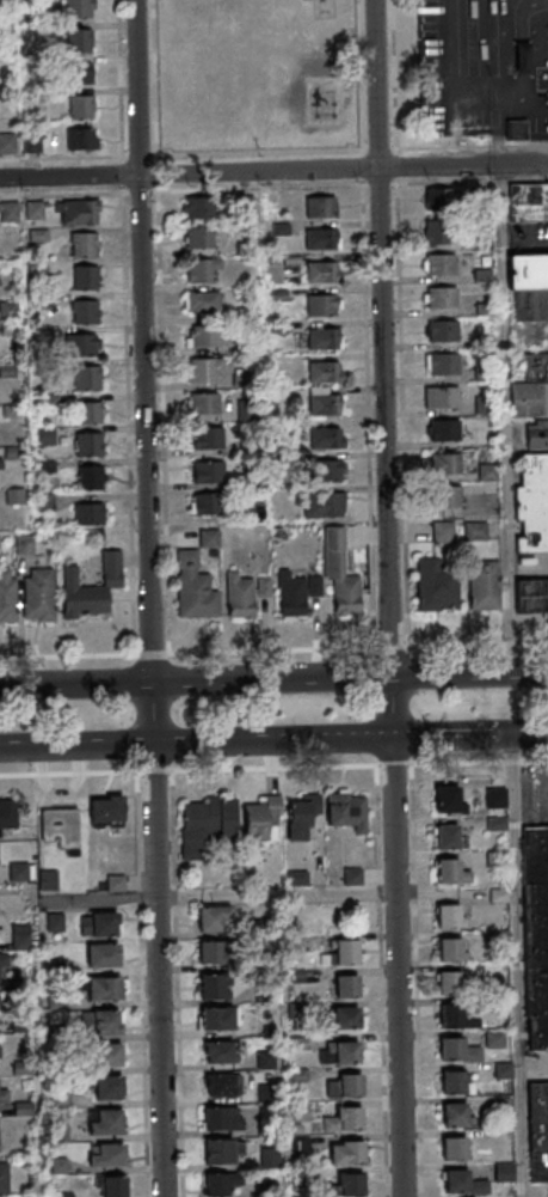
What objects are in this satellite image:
building: (78, 8)
building: (80, 39)
parking lot: (485, 68)
building: (80, 73)
road: (376, 83)
building: (81, 105)
building: (516, 128)
building: (82, 139)
road: (119, 139)
building: (7, 142)
building: (33, 142)
road: (398, 147)
road: (380, 148)
road: (255, 153)
road: (138, 157)
road: (462, 164)
road: (398, 165)
road: (362, 167)
road: (189, 173)
road: (121, 175)
road: (156, 175)
road: (378, 184)
road: (260, 189)
road: (138, 193)
building: (439, 197)
building: (528, 201)
building: (248, 206)
building: (320, 206)
building: (199, 209)
building: (8, 210)
building: (79, 210)
building: (435, 231)
road: (524, 237)
building: (322, 238)
parking lot: (528, 238)
building: (198, 239)
building: (84, 246)
building: (438, 264)
building: (202, 269)
building: (322, 270)
building: (527, 270)
building: (481, 274)
building: (86, 277)
building: (441, 297)
building: (203, 304)
building: (324, 304)
building: (530, 304)
building: (482, 306)
building: (85, 313)
building: (442, 330)
building: (486, 335)
building: (204, 337)
building: (324, 337)
road: (400, 337)
building: (86, 344)
road: (127, 362)
building: (441, 362)
building: (536, 365)
building: (325, 371)
building: (201, 372)
building: (482, 373)
building: (86, 379)
building: (441, 396)
building: (529, 398)
building: (325, 402)
building: (482, 404)
building: (203, 405)
building: (248, 410)
building: (87, 414)
road: (504, 417)
building: (443, 429)
building: (536, 434)
building: (327, 438)
building: (208, 440)
building: (88, 446)
building: (444, 462)
building: (326, 470)
building: (486, 471)
building: (208, 474)
building: (91, 476)
building: (445, 495)
building: (532, 502)
building: (205, 503)
building: (321, 505)
building: (90, 513)
building: (474, 530)
building: (442, 531)
building: (340, 572)
building: (482, 584)
building: (435, 585)
building: (92, 587)
building: (193, 587)
building: (297, 592)
building: (38, 594)
building: (245, 594)
building: (7, 596)
building: (531, 596)
road: (148, 598)
road: (475, 643)
road: (389, 647)
road: (271, 648)
road: (152, 652)
road: (68, 654)
road: (469, 673)
road: (543, 676)
road: (271, 678)
road: (390, 682)
road: (75, 684)
road: (541, 729)
road: (469, 735)
road: (196, 743)
road: (273, 765)
parking lot: (534, 793)
building: (495, 796)
building: (447, 801)
building: (347, 810)
building: (107, 811)
building: (8, 814)
building: (302, 816)
building: (263, 818)
building: (207, 823)
building: (61, 825)
building: (445, 839)
building: (20, 873)
building: (447, 873)
building: (352, 875)
building: (49, 879)
building: (215, 918)
building: (447, 918)
building: (56, 924)
building: (101, 924)
building: (536, 934)
building: (1, 935)
building: (213, 952)
building: (449, 952)
building: (104, 954)
building: (345, 955)
building: (4, 960)
road: (513, 966)
building: (295, 978)
building: (449, 984)
building: (214, 985)
building: (104, 988)
building: (346, 990)
building: (295, 1013)
building: (450, 1016)
building: (218, 1018)
building: (101, 1022)
building: (345, 1022)
building: (494, 1039)
building: (296, 1044)
building: (458, 1050)
building: (218, 1051)
building: (110, 1055)
building: (339, 1056)
parking lot: (537, 1067)
building: (297, 1076)
building: (454, 1082)
building: (222, 1085)
building: (107, 1087)
building: (344, 1089)
building: (2, 1094)
building: (500, 1106)
building: (300, 1113)
building: (454, 1118)
building: (105, 1120)
building: (221, 1120)
building: (343, 1123)
building: (265, 1130)
building: (538, 1131)
building: (300, 1148)
building: (454, 1152)
building: (106, 1154)
building: (221, 1154)
building: (346, 1156)
building: (269, 1159)
building: (503, 1173)
building: (302, 1177)
building: (4, 1179)
building: (220, 1185)
building: (462, 1185)
building: (110, 1186)
building: (350, 1186)
building: (264, 1190)

